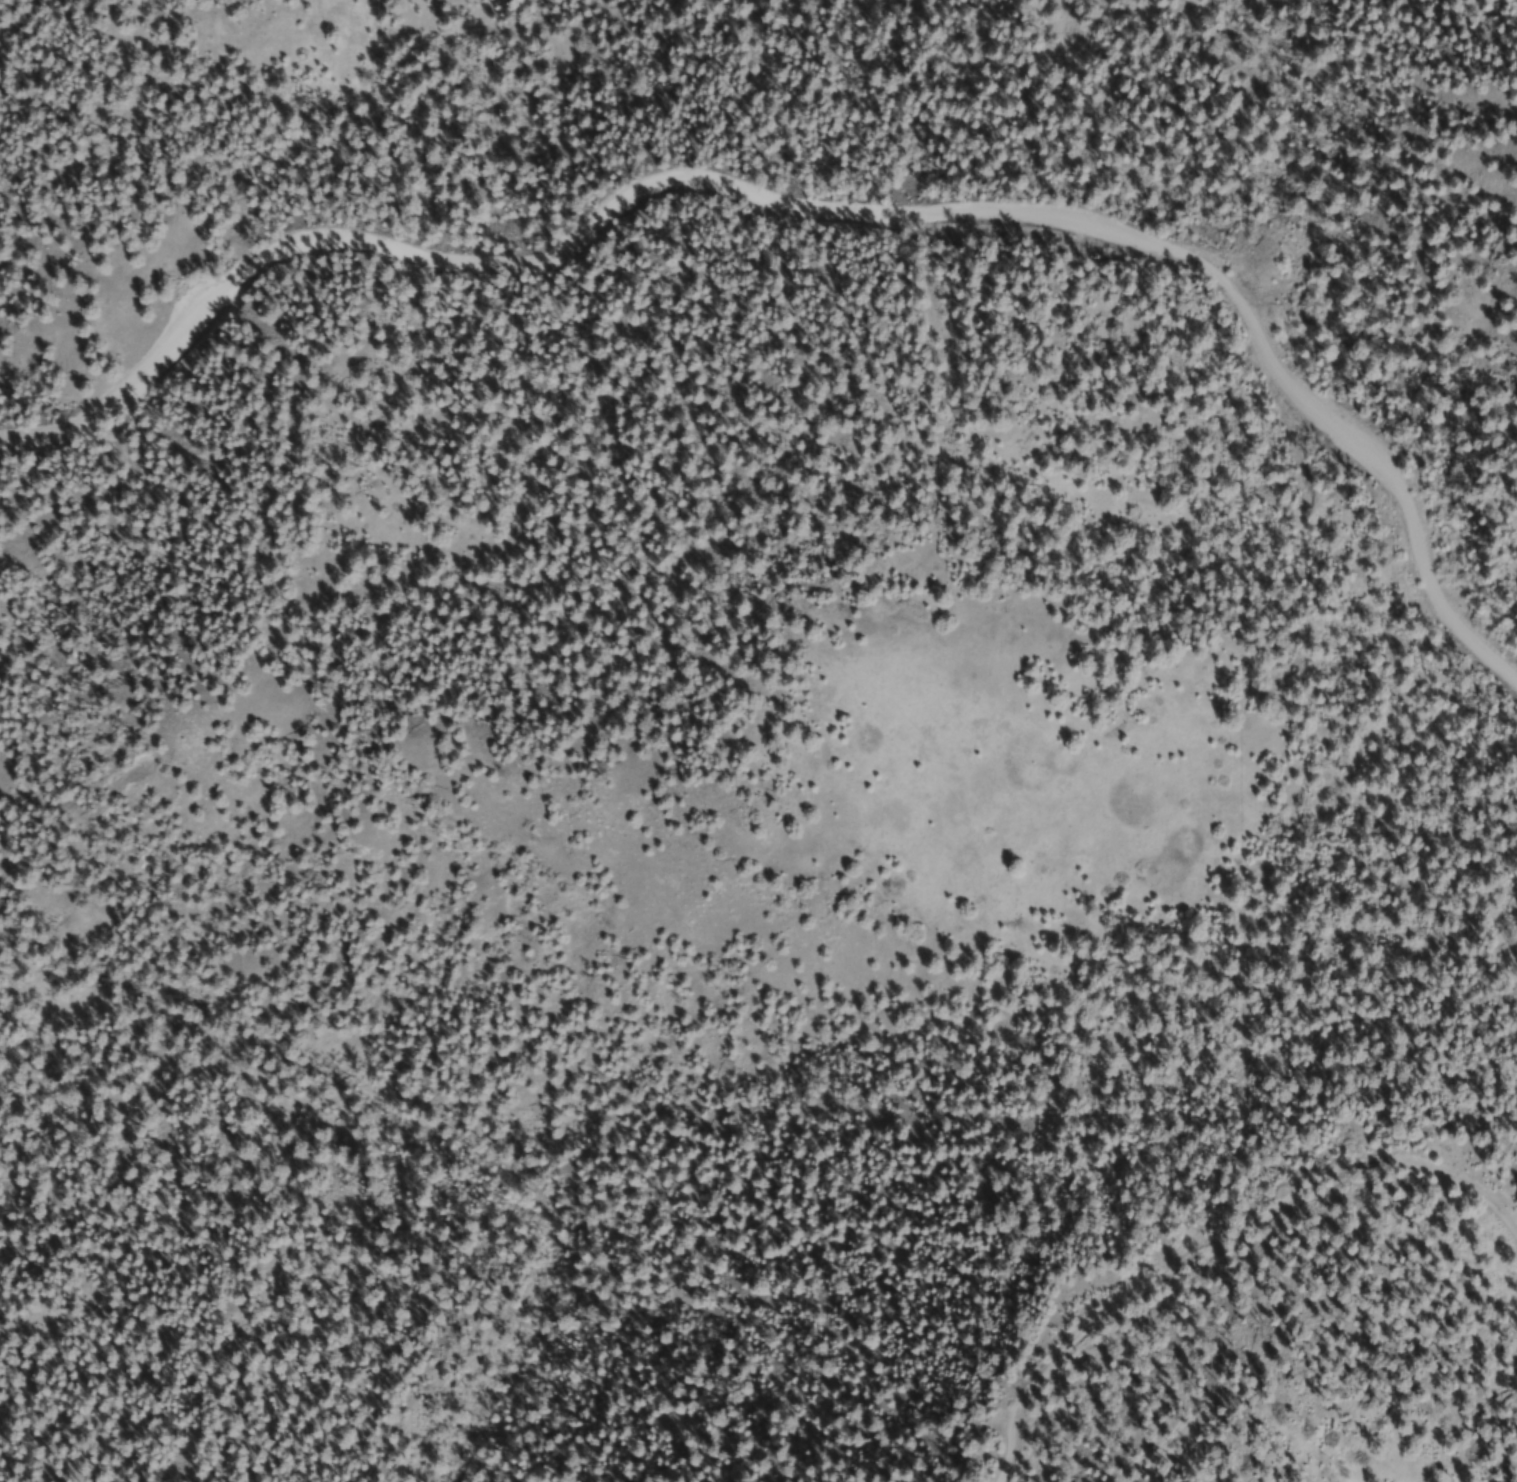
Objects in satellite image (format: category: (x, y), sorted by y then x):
road: (817, 190)

